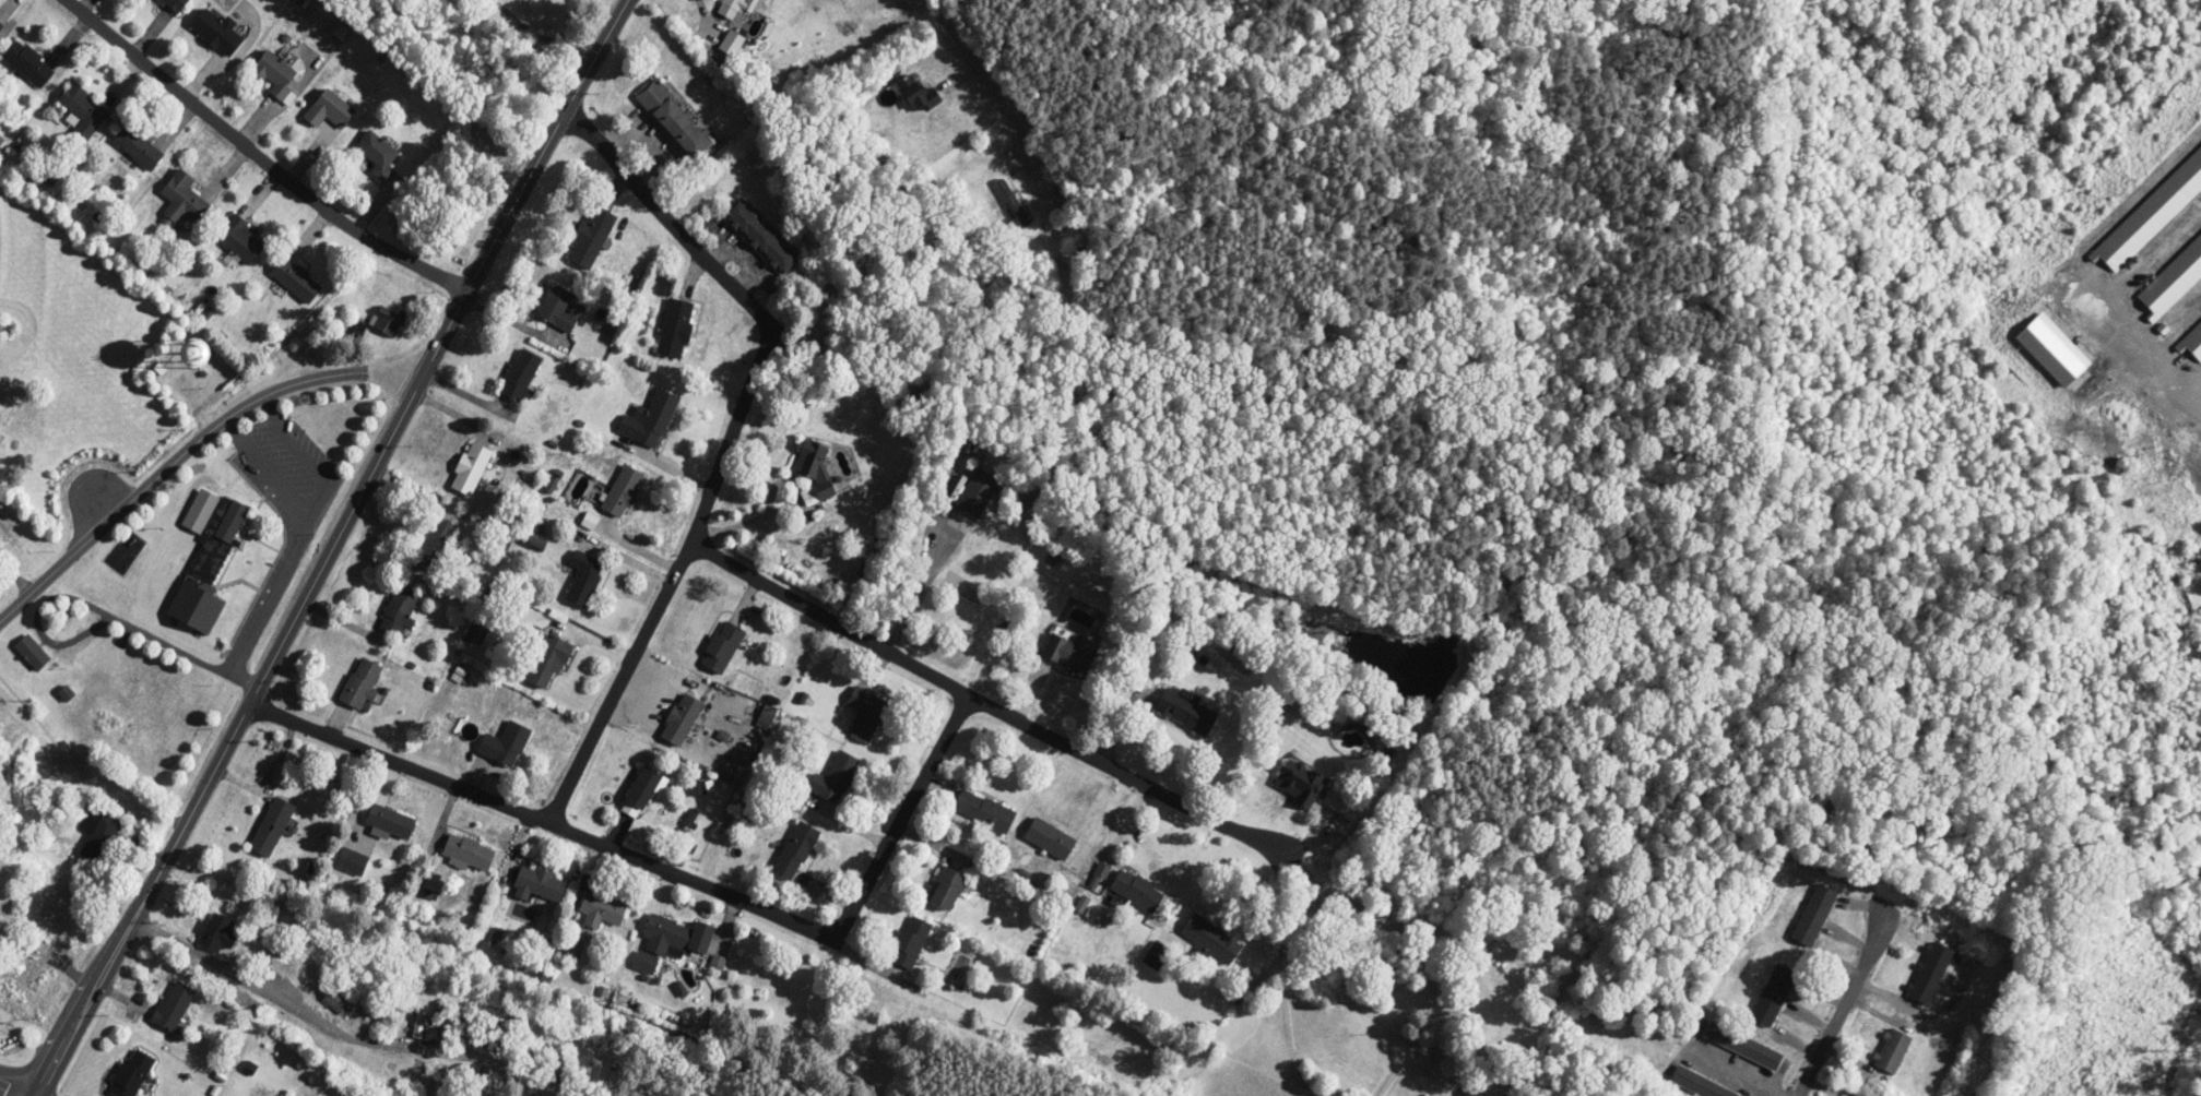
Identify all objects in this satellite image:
building: (735, 3)
building: (177, 4)
road: (707, 17)
building: (1, 28)
road: (530, 29)
building: (220, 32)
road: (570, 37)
building: (734, 44)
building: (31, 64)
building: (277, 73)
building: (920, 93)
road: (998, 93)
building: (332, 110)
building: (84, 111)
building: (676, 120)
building: (139, 147)
building: (380, 153)
road: (259, 155)
building: (185, 198)
building: (1013, 202)
building: (593, 237)
building: (764, 237)
building: (244, 240)
building: (297, 279)
building: (561, 309)
building: (389, 320)
road: (3, 326)
building: (677, 329)
water tower: (196, 358)
building: (522, 374)
building: (649, 420)
road: (733, 442)
road: (311, 462)
building: (813, 462)
road: (168, 469)
building: (472, 469)
road: (272, 473)
building: (622, 491)
building: (974, 496)
building: (437, 541)
road: (330, 548)
building: (210, 565)
building: (583, 577)
road: (922, 591)
road: (270, 604)
building: (402, 609)
road: (102, 621)
building: (721, 647)
building: (1070, 650)
building: (33, 652)
building: (546, 658)
building: (363, 682)
building: (1185, 710)
building: (866, 712)
building: (4, 715)
building: (681, 718)
road: (1055, 735)
building: (507, 743)
building: (837, 777)
building: (1299, 782)
building: (699, 786)
building: (643, 787)
building: (983, 810)
building: (1827, 812)
road: (904, 818)
road: (544, 819)
building: (392, 820)
building: (273, 825)
building: (96, 836)
building: (1049, 838)
building: (471, 850)
building: (794, 850)
building: (353, 860)
road: (1200, 867)
building: (540, 884)
building: (946, 889)
building: (1136, 890)
building: (602, 909)
building: (1814, 915)
building: (218, 932)
building: (1209, 938)
building: (672, 942)
building: (910, 943)
building: (573, 949)
building: (1157, 955)
building: (32, 966)
building: (1929, 973)
road: (1854, 984)
building: (1773, 994)
road: (121, 997)
building: (340, 1001)
building: (175, 1005)
road: (1912, 1011)
building: (442, 1017)
building: (473, 1020)
building: (419, 1022)
road: (330, 1031)
building: (1743, 1045)
building: (1892, 1051)
road: (1738, 1071)
building: (451, 1073)
building: (133, 1074)
building: (1700, 1083)
building: (486, 1084)
road: (15, 1088)
road: (33, 1095)
building: (511, 1095)

